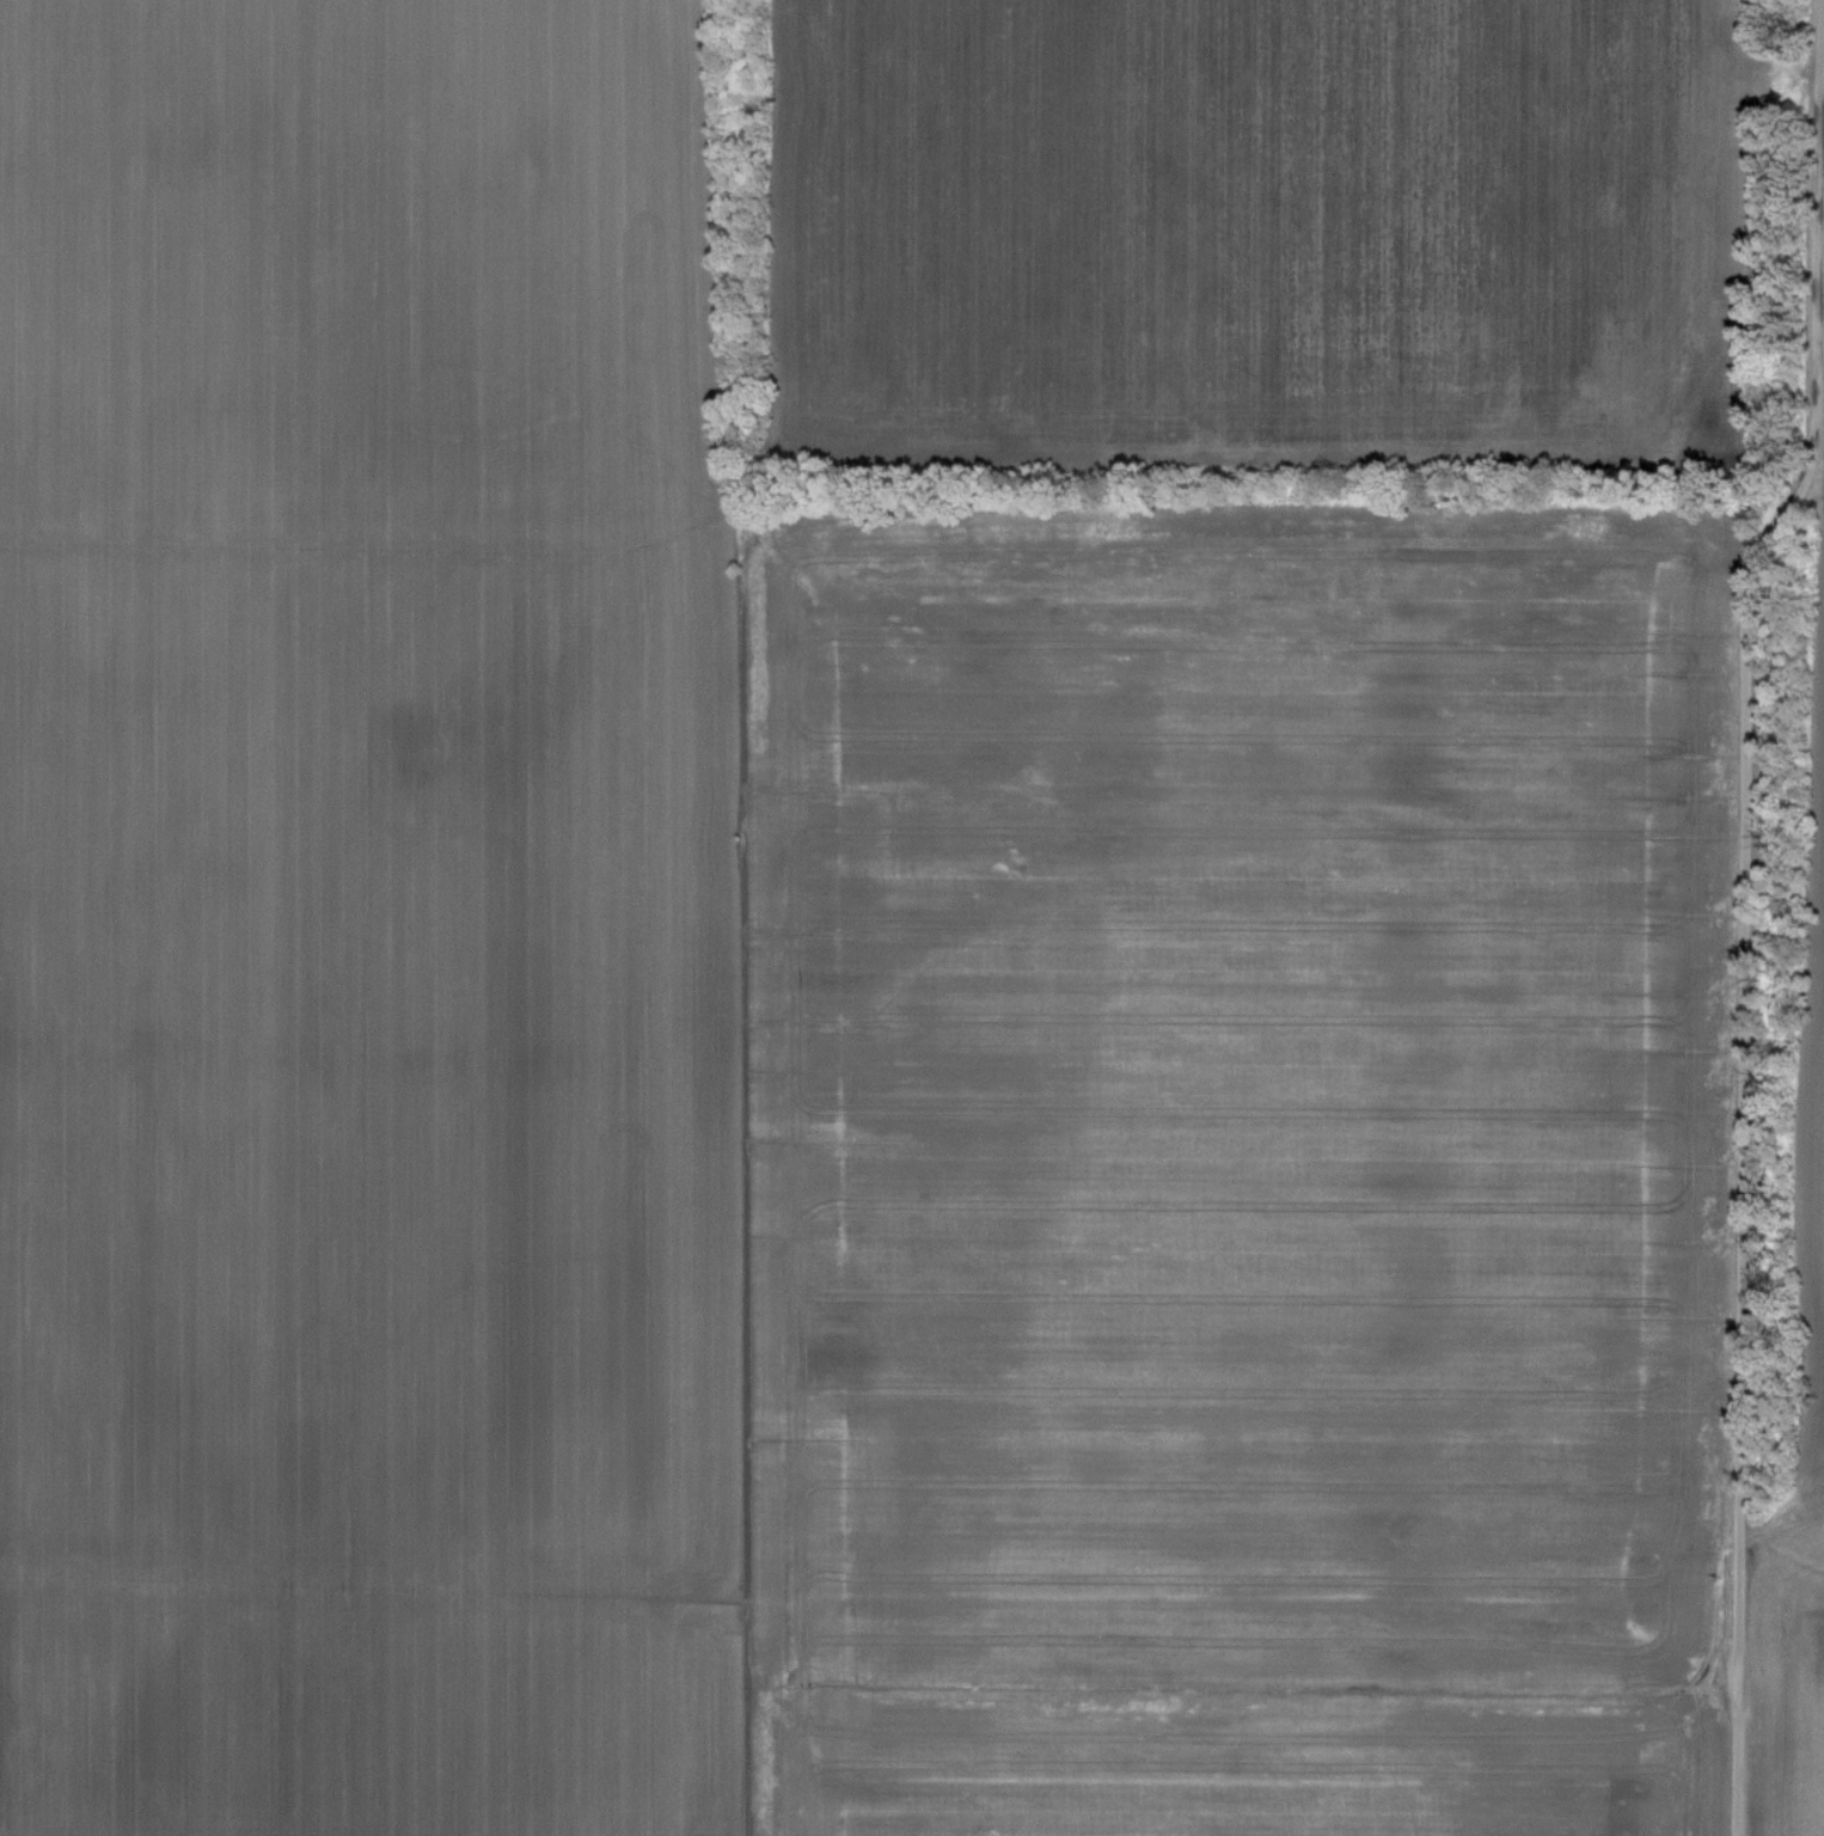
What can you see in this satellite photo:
road: (1734, 906)

